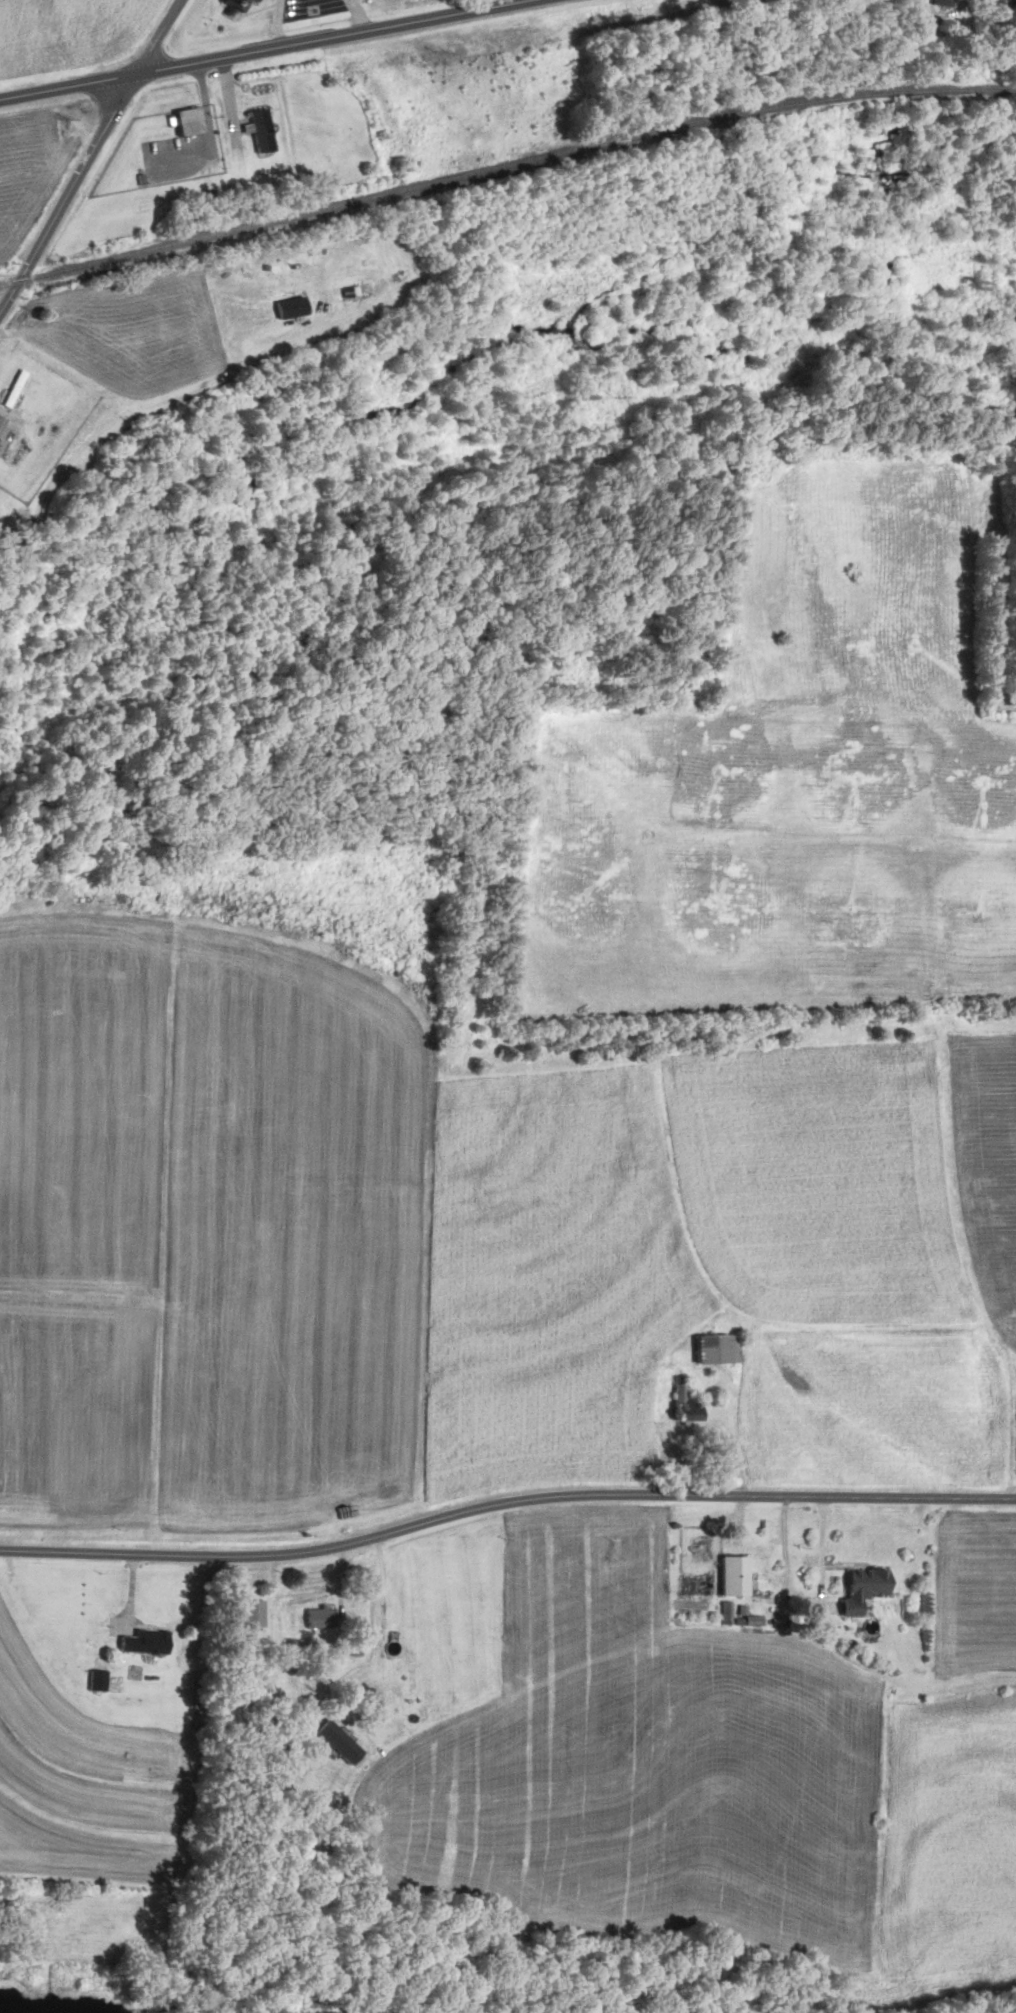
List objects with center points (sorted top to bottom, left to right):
building: (253, 0)
building: (254, 0)
building: (939, 3)
building: (235, 4)
road: (356, 15)
road: (277, 23)
road: (265, 49)
building: (186, 122)
road: (210, 129)
building: (260, 131)
road: (89, 154)
railway: (504, 166)
building: (289, 307)
road: (299, 323)
road: (116, 405)
building: (12, 410)
building: (711, 1351)
building: (682, 1405)
road: (504, 1504)
building: (731, 1575)
building: (861, 1587)
building: (252, 1614)
building: (317, 1619)
building: (142, 1642)
road: (379, 1670)
building: (96, 1680)
building: (338, 1742)

